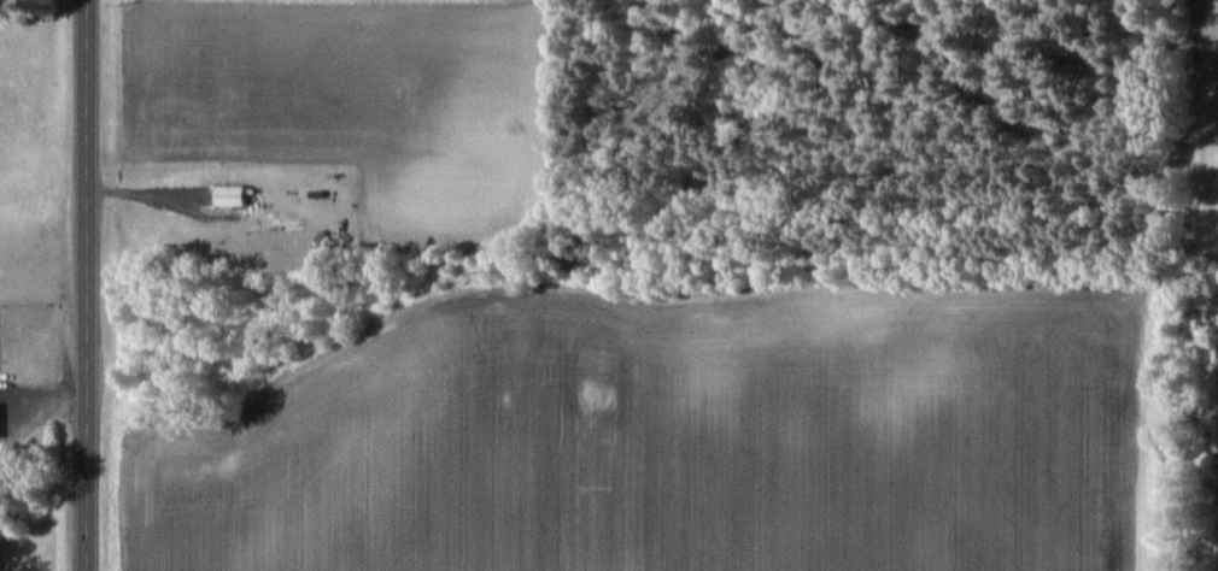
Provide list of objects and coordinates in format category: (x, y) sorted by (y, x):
building: (230, 196)
building: (275, 225)
road: (81, 284)
road: (36, 411)

